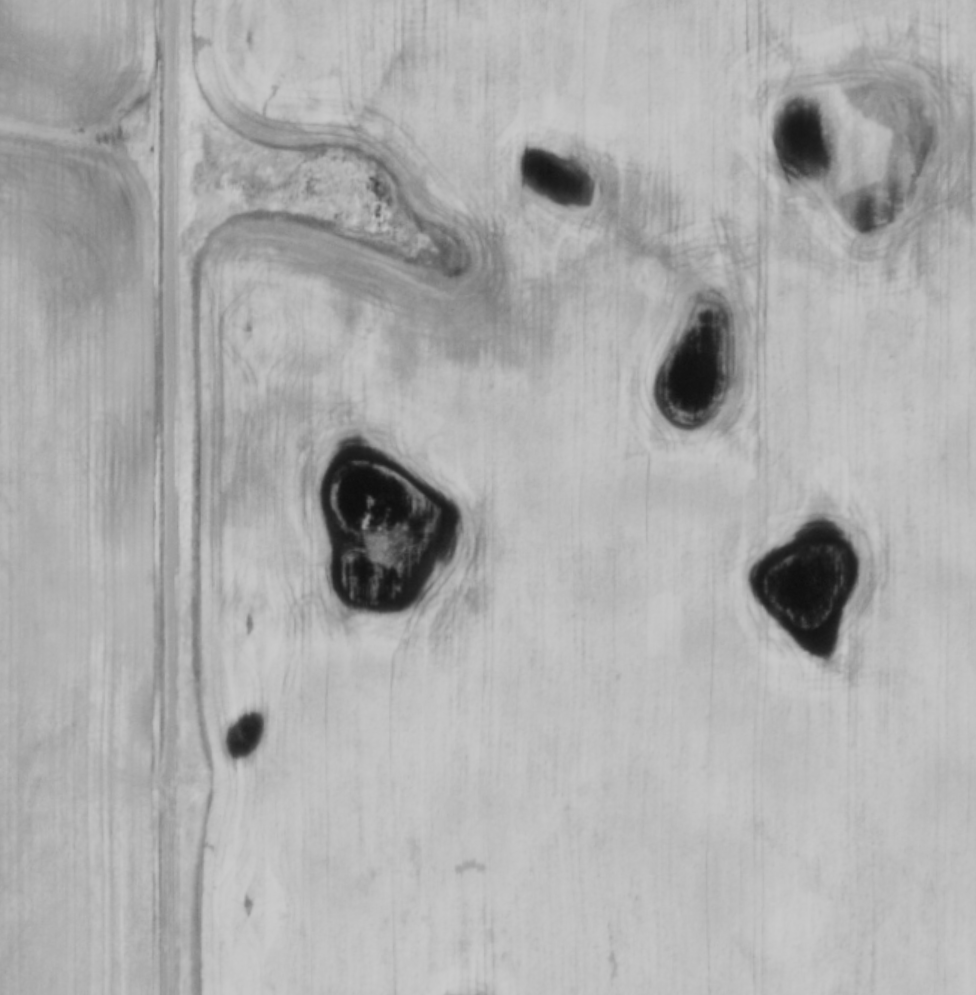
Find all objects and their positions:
road: (171, 395)
road: (169, 892)

